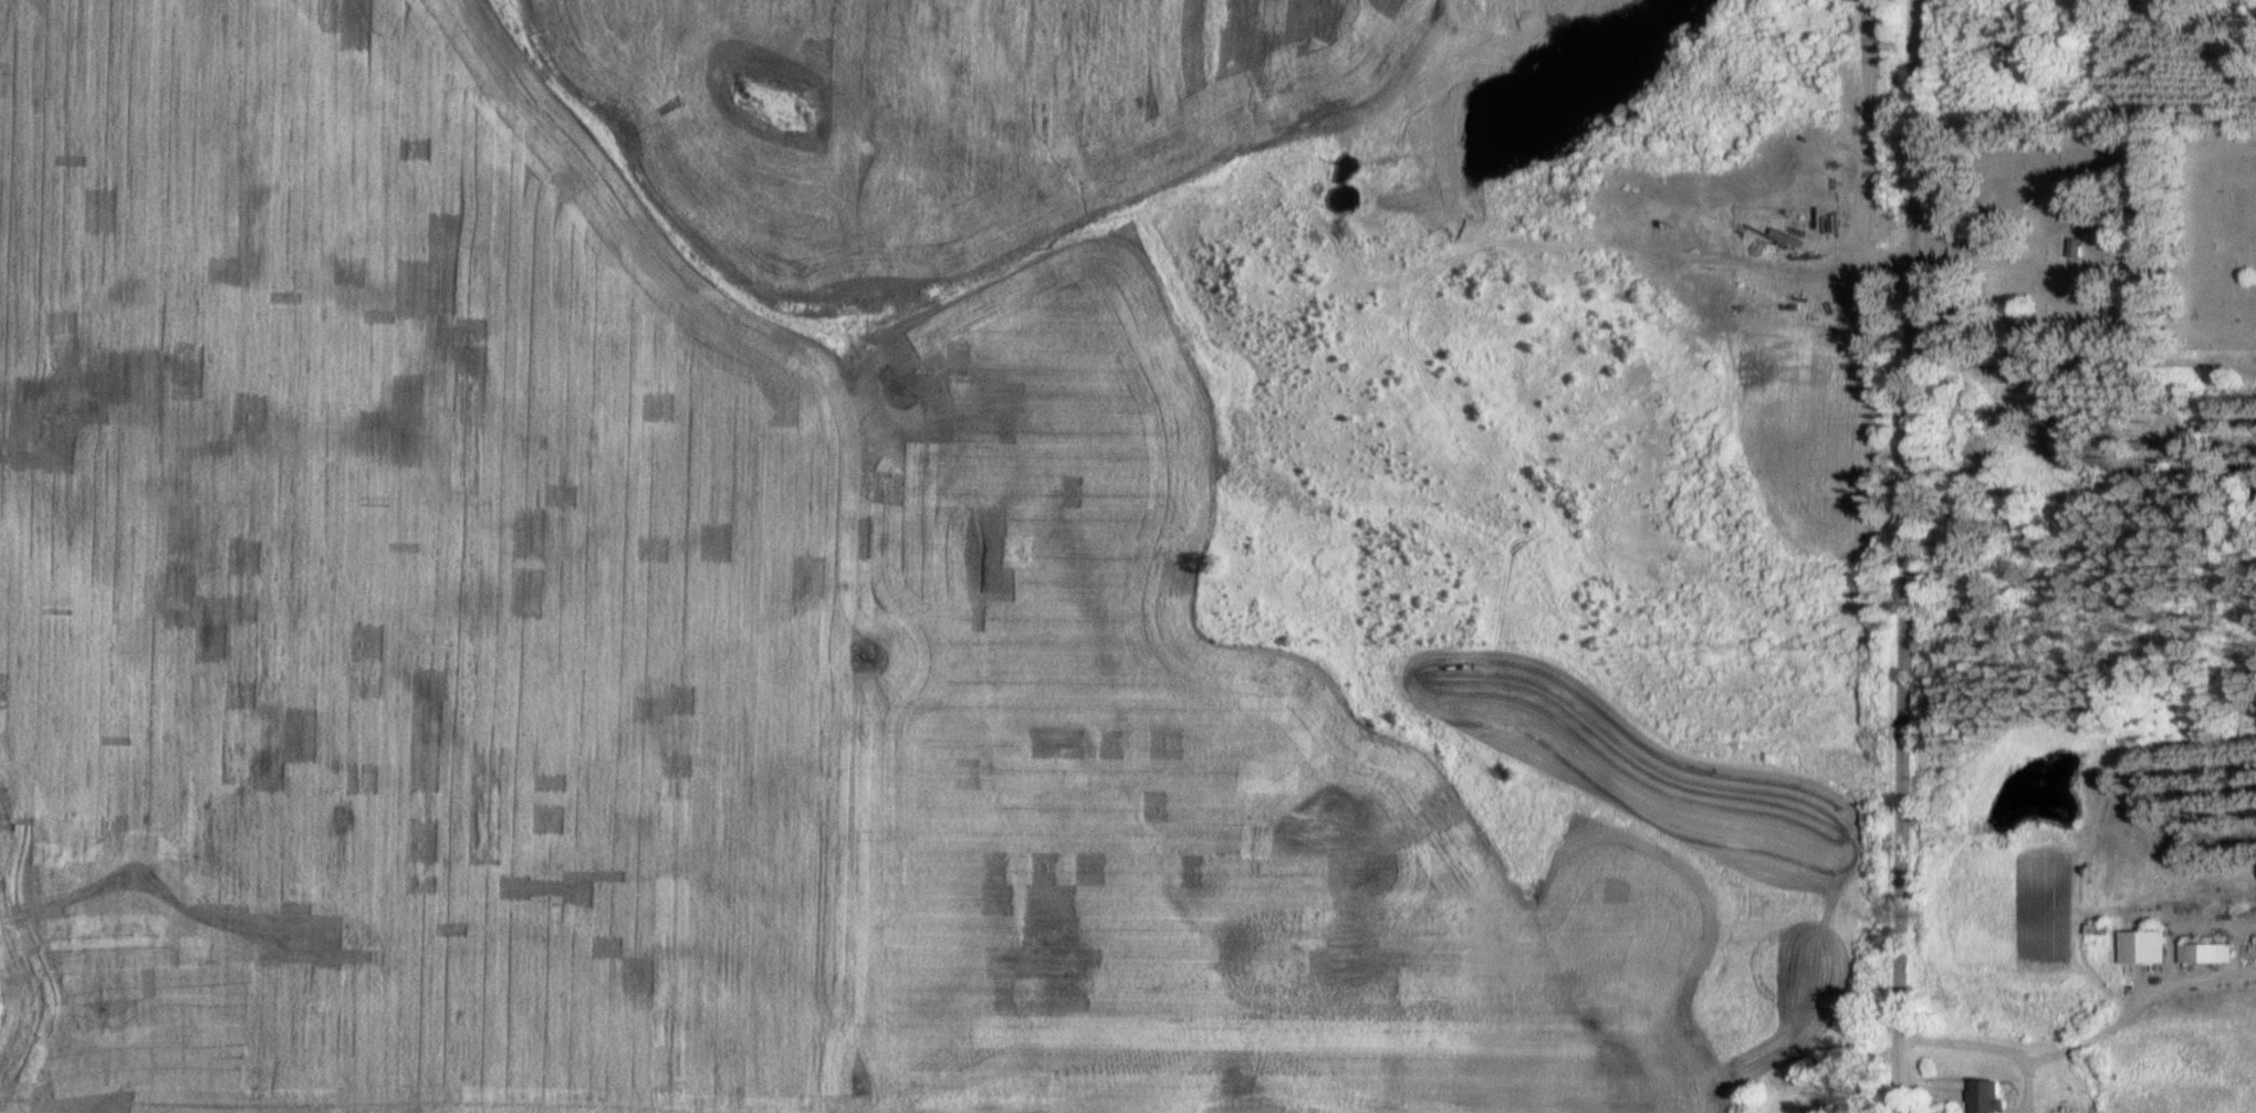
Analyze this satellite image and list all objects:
road: (1909, 132)
park: (2089, 238)
road: (2187, 242)
building: (2076, 248)
road: (2047, 266)
road: (1894, 687)
building: (2142, 946)
building: (2204, 952)
building: (1988, 1095)

